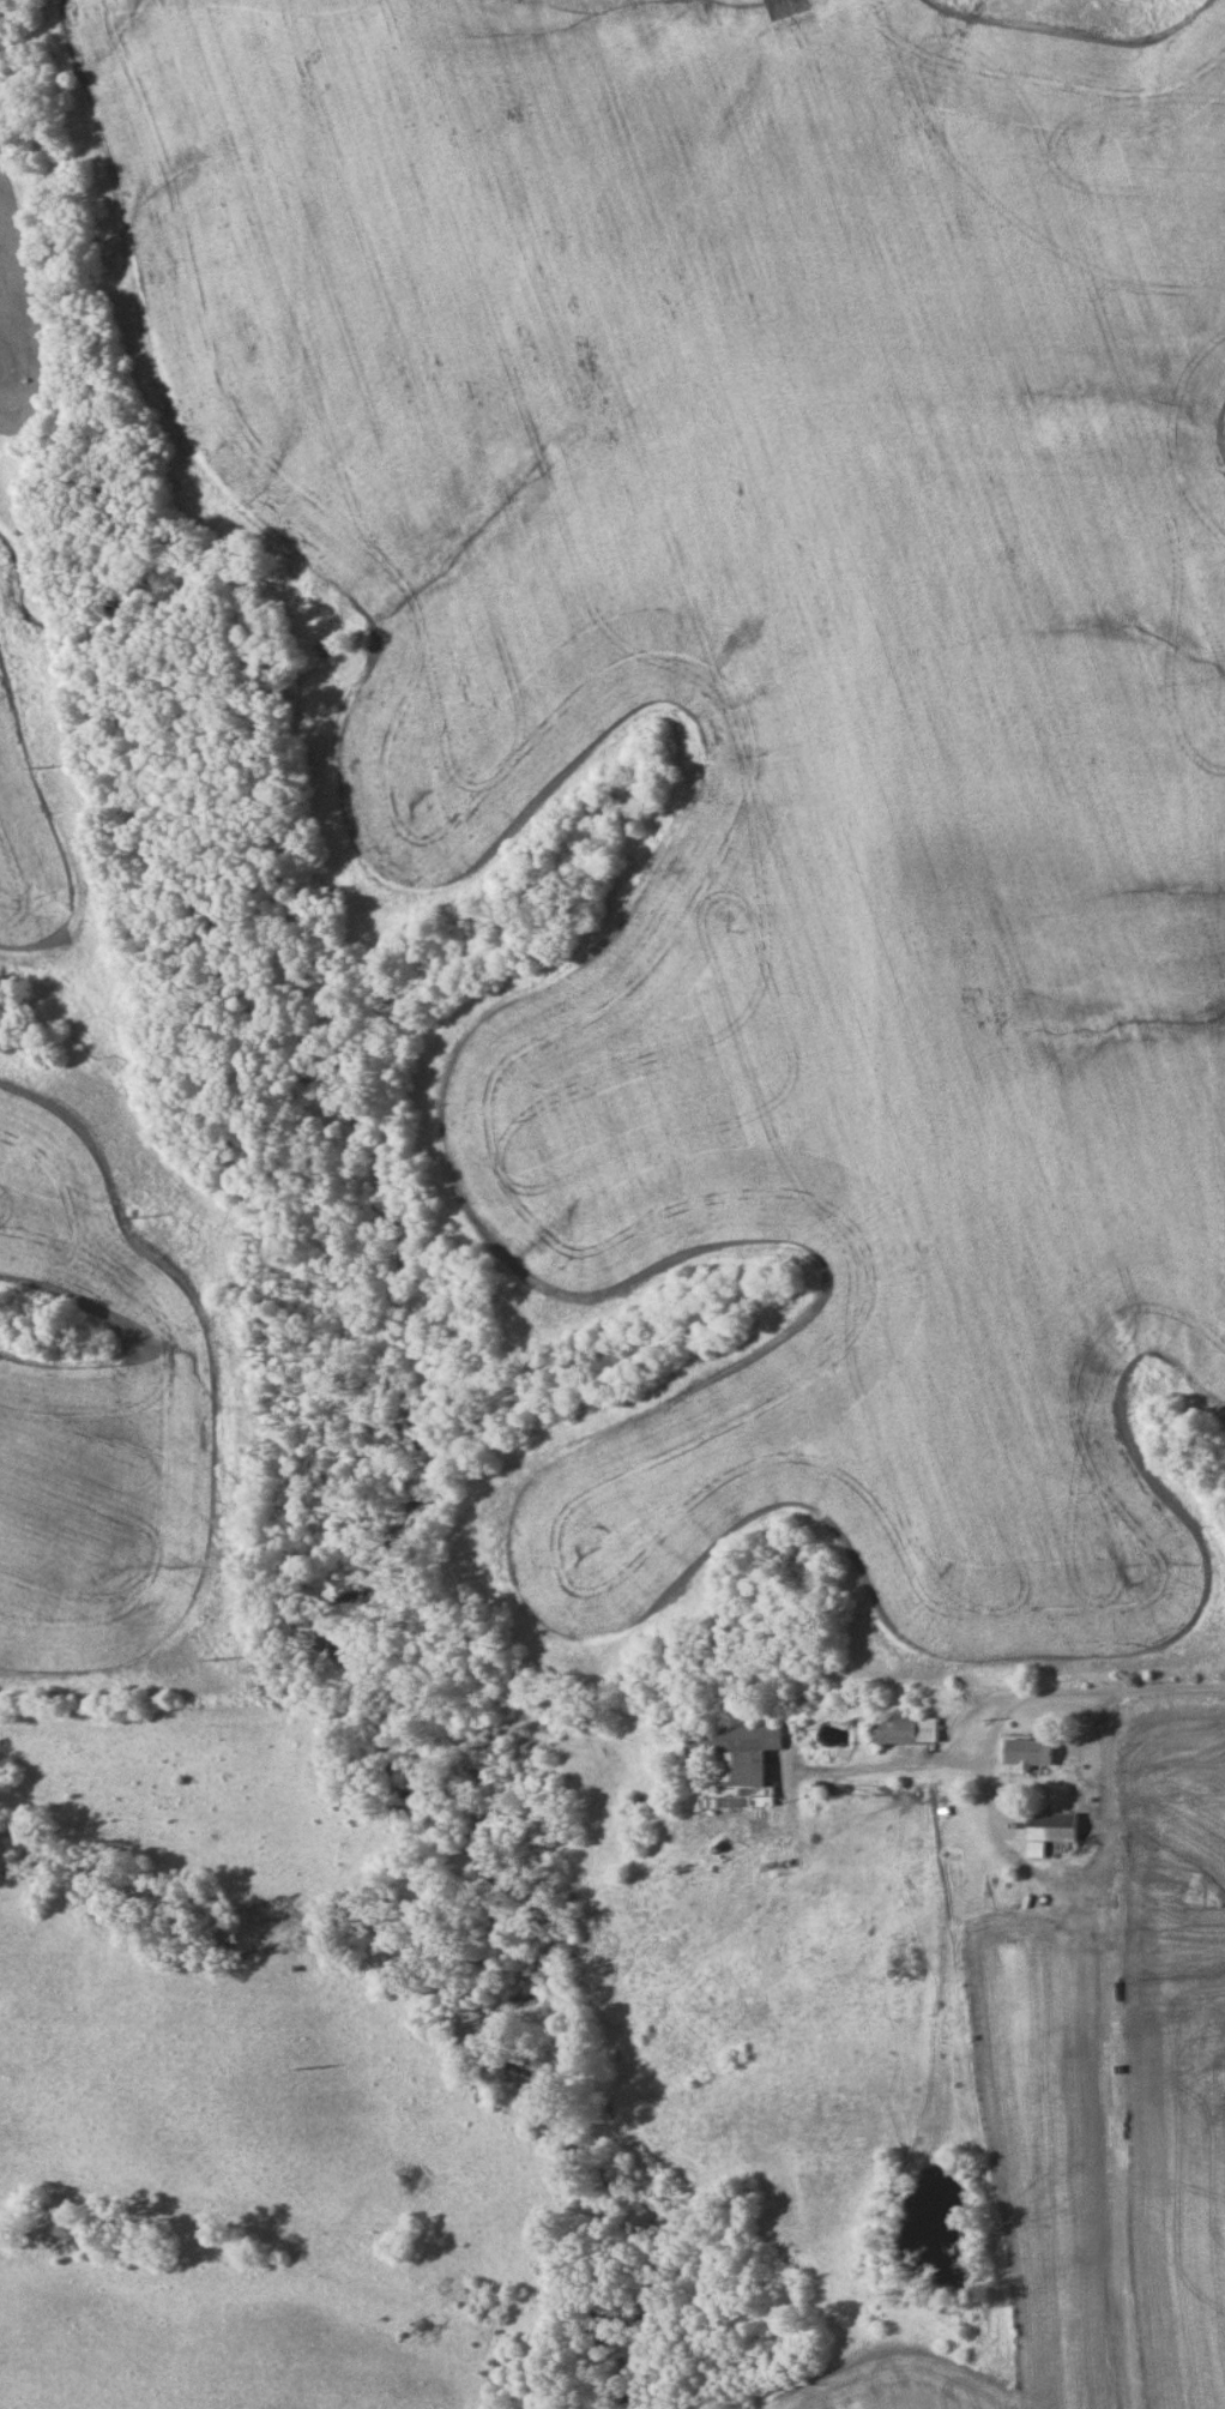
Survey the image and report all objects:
power tower: (37, 761)
power tower: (134, 1206)
power tower: (216, 1646)
road: (1046, 1704)
building: (911, 1729)
building: (1027, 1752)
building: (741, 1763)
building: (1056, 1827)
road: (1123, 2055)
power tower: (301, 2059)

